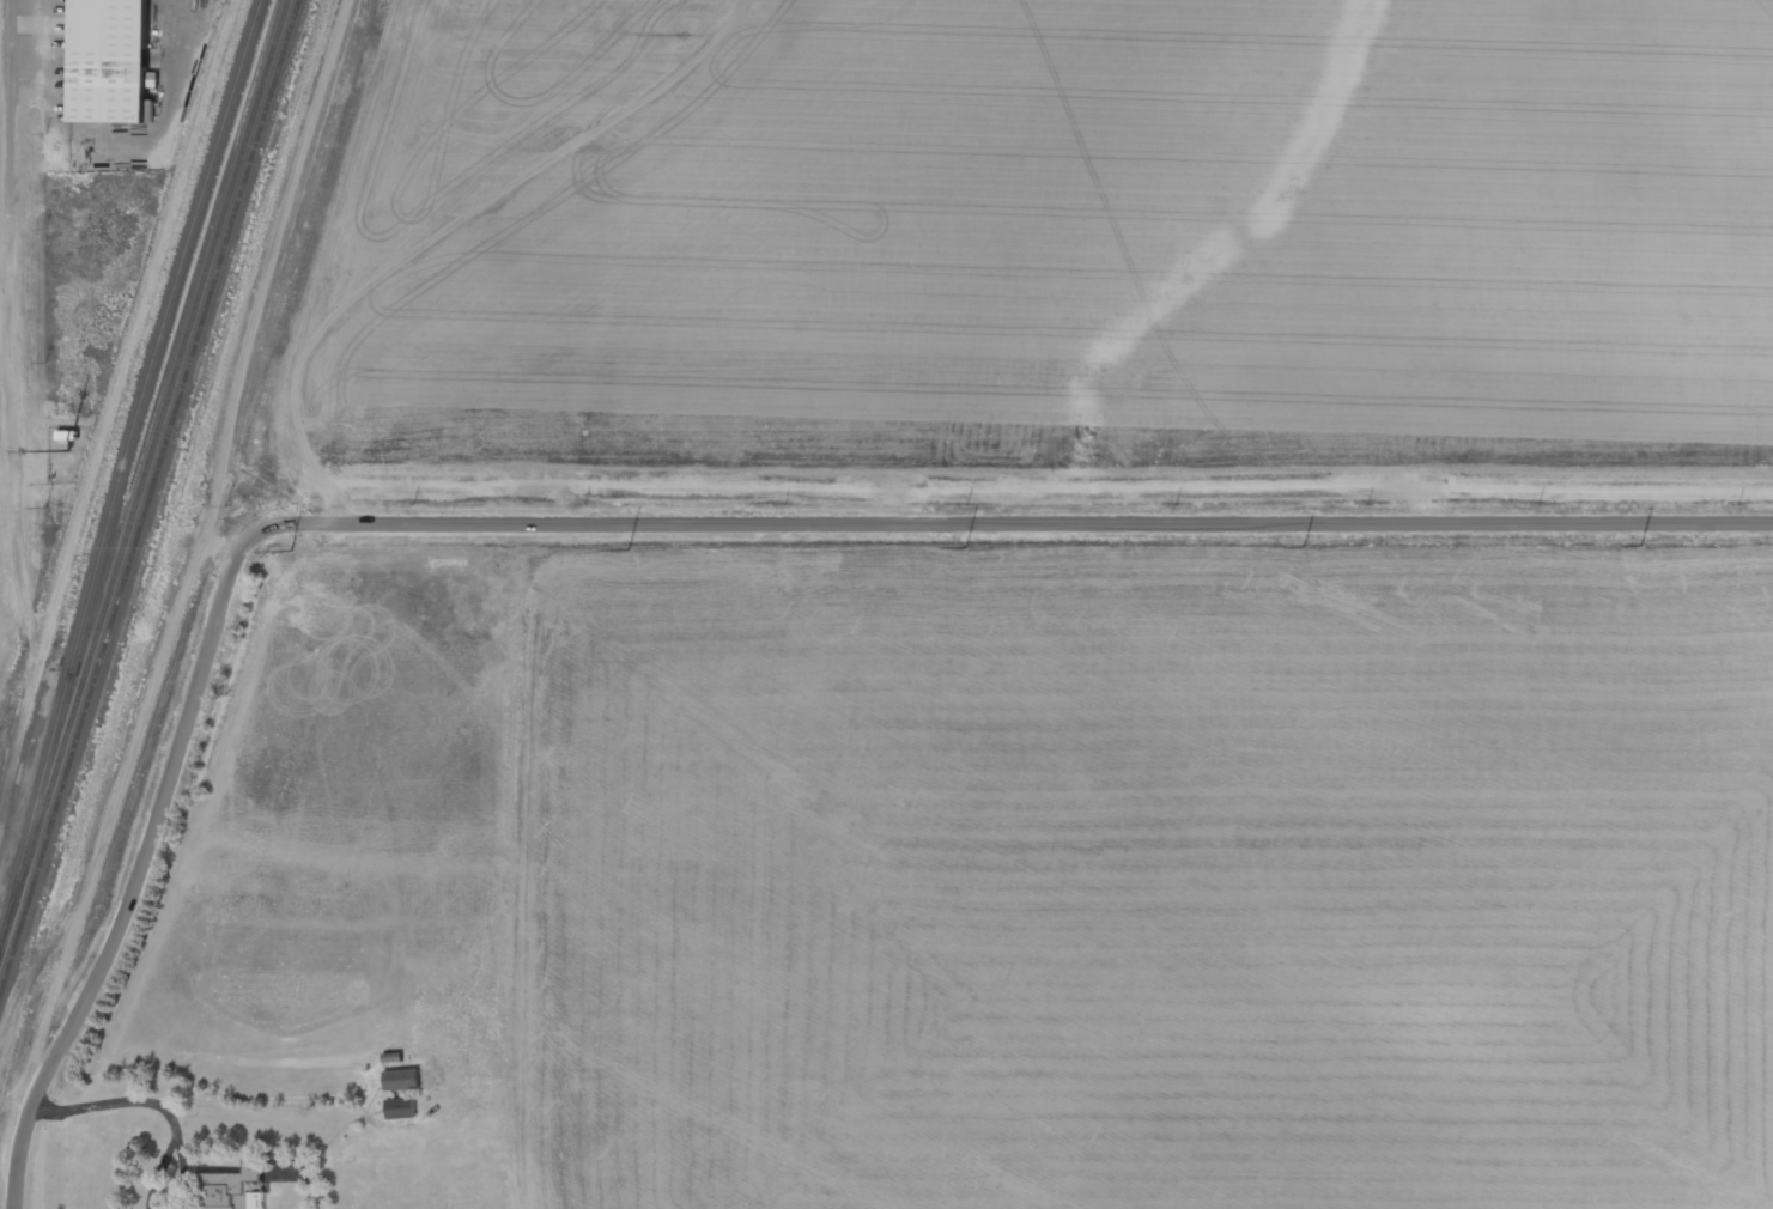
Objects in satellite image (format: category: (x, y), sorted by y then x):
building: (109, 60)
railway: (123, 474)
railway: (144, 482)
railway: (150, 500)
road: (1024, 518)
power tower: (1549, 547)
power tower: (1124, 548)
power tower: (272, 551)
power tower: (699, 551)
road: (144, 863)
building: (401, 1079)
building: (401, 1107)
building: (230, 1187)

